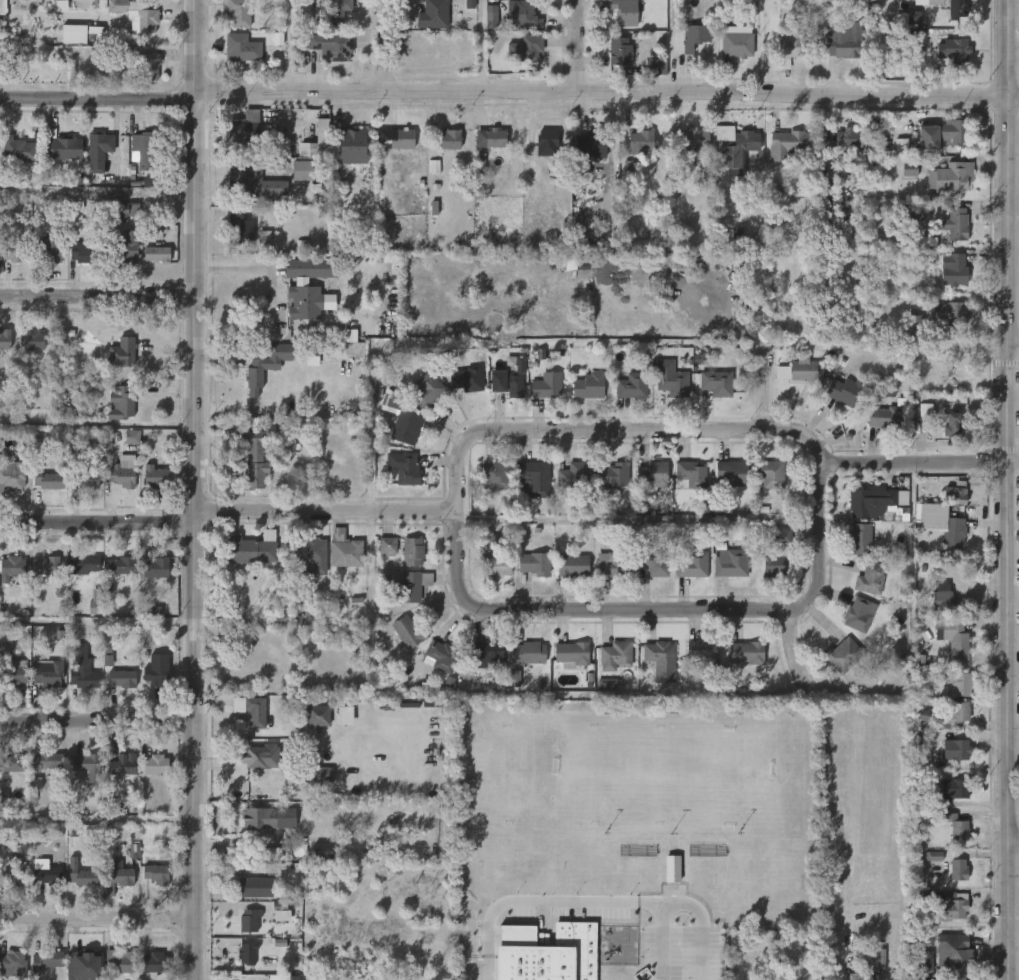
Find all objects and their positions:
road: (0, 3)
building: (952, 7)
building: (626, 11)
building: (237, 13)
building: (334, 13)
building: (433, 15)
building: (525, 16)
building: (491, 17)
building: (913, 18)
building: (146, 21)
building: (74, 34)
building: (696, 36)
building: (846, 41)
building: (737, 42)
building: (330, 46)
road: (386, 48)
road: (484, 48)
road: (580, 48)
building: (790, 48)
building: (241, 49)
building: (525, 49)
building: (954, 50)
building: (622, 52)
building: (148, 66)
building: (658, 67)
road: (504, 97)
road: (1015, 106)
building: (244, 129)
building: (946, 134)
building: (495, 137)
building: (401, 138)
building: (450, 138)
building: (546, 138)
building: (589, 138)
building: (841, 138)
building: (318, 141)
building: (642, 141)
building: (737, 145)
building: (789, 145)
building: (901, 146)
building: (354, 147)
building: (17, 148)
building: (61, 148)
building: (142, 149)
building: (691, 149)
building: (99, 150)
building: (480, 163)
building: (909, 168)
building: (302, 170)
building: (953, 176)
building: (254, 181)
building: (122, 208)
building: (914, 216)
building: (956, 223)
building: (239, 228)
building: (159, 229)
building: (122, 247)
building: (49, 248)
building: (14, 250)
building: (85, 250)
building: (156, 253)
building: (577, 264)
building: (955, 270)
building: (309, 286)
road: (98, 297)
road: (270, 298)
building: (950, 313)
building: (913, 322)
building: (349, 336)
building: (4, 338)
building: (31, 339)
road: (1014, 347)
building: (121, 351)
building: (312, 356)
building: (946, 358)
building: (266, 365)
building: (806, 371)
building: (511, 378)
building: (467, 379)
building: (716, 382)
building: (674, 383)
building: (630, 384)
building: (547, 385)
building: (589, 386)
building: (426, 389)
building: (846, 391)
road: (1014, 399)
building: (120, 402)
building: (926, 413)
building: (887, 417)
road: (98, 424)
building: (951, 424)
building: (406, 428)
road: (613, 430)
building: (132, 437)
building: (253, 462)
road: (1014, 463)
road: (911, 465)
building: (408, 470)
building: (732, 472)
building: (770, 473)
building: (11, 474)
building: (653, 474)
building: (691, 474)
building: (121, 475)
building: (496, 475)
building: (574, 475)
building: (155, 476)
building: (83, 477)
building: (612, 477)
building: (46, 478)
building: (535, 478)
road: (1010, 489)
road: (196, 490)
building: (957, 493)
building: (875, 501)
road: (327, 512)
road: (636, 520)
road: (98, 525)
building: (954, 531)
building: (861, 539)
building: (491, 542)
building: (387, 546)
building: (251, 548)
building: (344, 550)
building: (412, 552)
building: (780, 555)
building: (310, 556)
building: (654, 561)
building: (731, 562)
building: (81, 563)
building: (534, 563)
building: (612, 564)
building: (120, 565)
building: (572, 565)
building: (692, 565)
building: (496, 566)
building: (11, 568)
building: (46, 568)
building: (154, 570)
building: (870, 578)
building: (411, 587)
building: (944, 597)
building: (95, 601)
road: (1014, 601)
road: (659, 611)
building: (859, 614)
road: (98, 622)
building: (408, 632)
building: (5, 639)
building: (957, 639)
building: (703, 650)
building: (747, 652)
road: (799, 652)
building: (527, 653)
building: (572, 654)
building: (487, 655)
building: (843, 655)
building: (441, 656)
building: (615, 656)
building: (662, 660)
building: (84, 665)
building: (47, 672)
building: (14, 674)
building: (155, 676)
building: (121, 678)
building: (514, 679)
building: (959, 683)
building: (254, 712)
building: (956, 712)
building: (319, 715)
building: (345, 716)
road: (97, 722)
building: (956, 750)
building: (260, 758)
building: (15, 762)
building: (46, 762)
building: (122, 765)
building: (154, 765)
building: (86, 766)
building: (322, 775)
building: (953, 789)
building: (3, 800)
building: (255, 818)
road: (97, 820)
building: (955, 826)
building: (18, 837)
building: (358, 845)
road: (1014, 847)
building: (268, 854)
building: (933, 856)
building: (672, 869)
building: (12, 870)
building: (959, 870)
building: (45, 873)
building: (81, 875)
building: (155, 875)
building: (116, 876)
building: (257, 887)
road: (542, 900)
building: (950, 907)
road: (699, 914)
road: (97, 919)
building: (249, 921)
road: (664, 941)
building: (952, 952)
building: (246, 954)
building: (551, 955)
building: (45, 960)
building: (118, 962)
building: (923, 962)
building: (12, 965)
building: (153, 965)
building: (84, 966)
road: (489, 966)
road: (1014, 971)
building: (287, 978)

